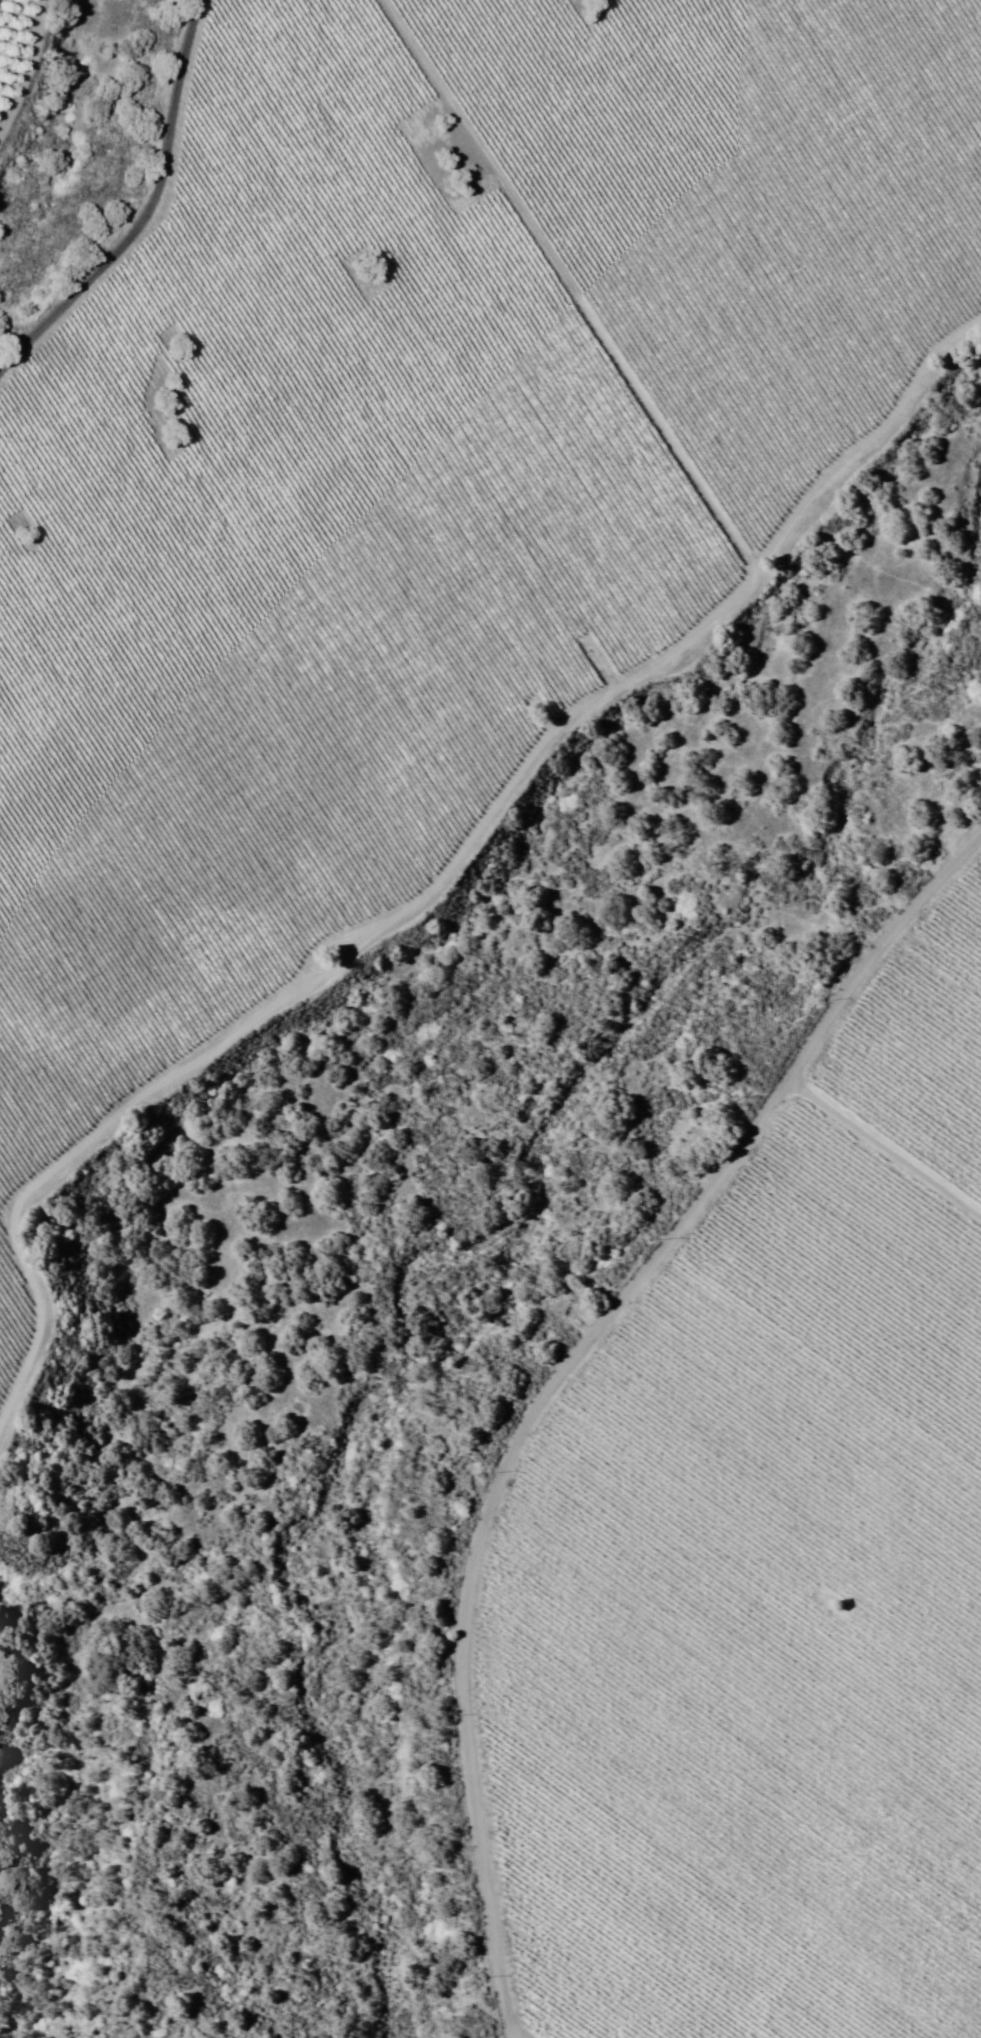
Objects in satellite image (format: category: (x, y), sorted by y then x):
road: (139, 200)
road: (562, 1376)

